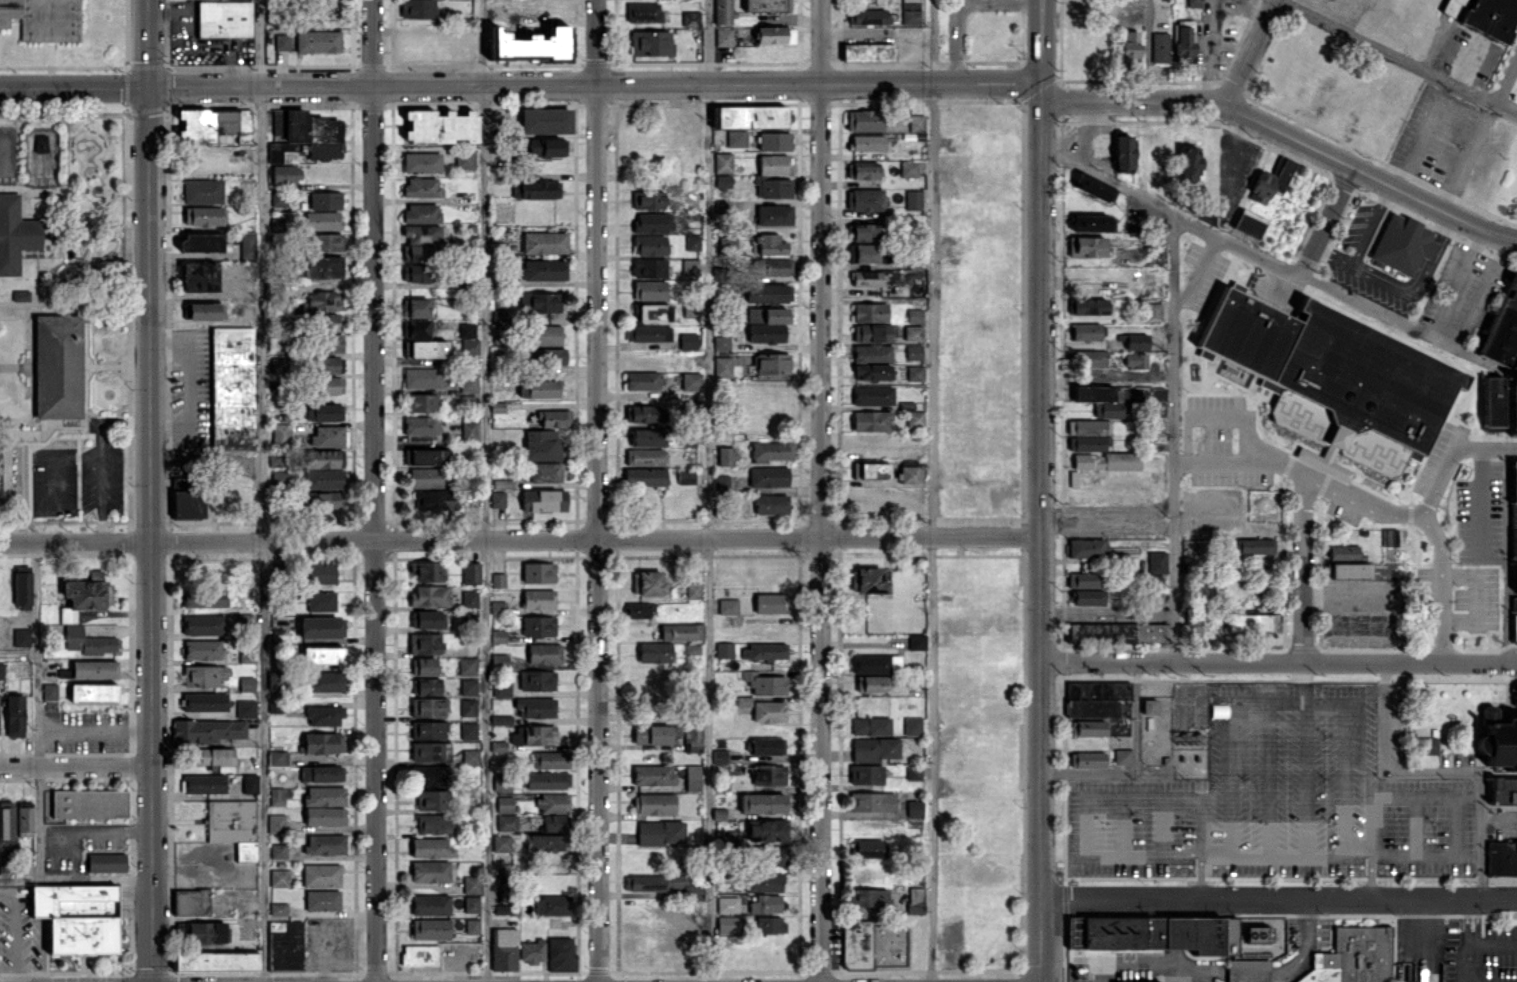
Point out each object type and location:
road: (999, 1)
building: (1194, 3)
building: (766, 5)
building: (418, 8)
building: (723, 11)
building: (643, 12)
building: (910, 12)
building: (1483, 15)
building: (865, 16)
building: (224, 18)
building: (691, 18)
building: (44, 19)
building: (775, 34)
building: (723, 37)
building: (282, 41)
building: (318, 41)
road: (954, 41)
road: (1041, 41)
building: (1183, 41)
building: (651, 42)
road: (146, 43)
building: (528, 44)
building: (1129, 46)
building: (1159, 47)
road: (1147, 51)
road: (1210, 51)
building: (867, 52)
road: (1249, 53)
road: (1398, 56)
road: (1505, 78)
traffic signals: (1041, 82)
road: (594, 84)
road: (73, 86)
traffic signals: (147, 86)
traffic signals: (1041, 102)
road: (1125, 102)
building: (751, 116)
building: (545, 120)
building: (864, 120)
building: (916, 122)
building: (214, 124)
building: (440, 126)
building: (305, 134)
building: (736, 138)
building: (774, 141)
building: (867, 142)
building: (40, 145)
building: (546, 147)
building: (1123, 153)
building: (464, 158)
building: (1189, 161)
building: (422, 162)
building: (722, 162)
building: (908, 168)
building: (862, 170)
building: (286, 173)
road: (1363, 173)
building: (761, 176)
building: (1270, 180)
building: (722, 181)
building: (422, 187)
building: (1093, 187)
building: (536, 189)
building: (203, 190)
building: (325, 199)
building: (865, 199)
building: (647, 200)
building: (913, 200)
building: (722, 205)
building: (421, 213)
building: (773, 214)
building: (204, 215)
building: (322, 220)
road: (1326, 221)
building: (653, 222)
building: (1091, 223)
building: (1248, 223)
road: (1369, 223)
building: (277, 224)
building: (864, 231)
building: (15, 233)
building: (326, 241)
building: (201, 242)
building: (419, 242)
building: (543, 242)
building: (692, 242)
building: (727, 242)
building: (770, 243)
building: (649, 244)
building: (1402, 244)
building: (247, 245)
building: (1086, 246)
road: (1249, 249)
building: (865, 253)
road: (1333, 253)
street lamp: (1189, 265)
building: (323, 266)
building: (690, 266)
building: (773, 266)
street lamp: (1246, 266)
building: (649, 267)
building: (544, 269)
building: (417, 273)
road: (1198, 273)
parking lot: (1201, 275)
building: (199, 276)
building: (866, 278)
road: (1417, 279)
road: (1313, 280)
road: (1309, 288)
building: (649, 289)
building: (768, 293)
building: (21, 295)
road: (1487, 297)
building: (321, 301)
building: (539, 301)
building: (1086, 305)
road: (74, 307)
building: (415, 307)
building: (203, 311)
building: (690, 311)
building: (869, 311)
building: (1152, 311)
building: (650, 312)
road: (1295, 314)
building: (914, 315)
building: (501, 317)
park: (65, 318)
building: (329, 321)
road: (1362, 322)
road: (1368, 322)
building: (767, 323)
building: (415, 327)
building: (1502, 328)
building: (466, 329)
building: (871, 332)
building: (913, 332)
building: (648, 333)
building: (499, 334)
building: (545, 334)
road: (1195, 334)
building: (688, 340)
building: (1135, 340)
building: (333, 342)
building: (721, 342)
road: (1409, 345)
building: (425, 348)
building: (469, 349)
building: (913, 351)
building: (549, 354)
building: (1088, 357)
building: (1135, 359)
road: (1204, 359)
building: (769, 363)
building: (279, 364)
building: (58, 365)
road: (115, 365)
building: (329, 365)
road: (17, 366)
building: (722, 366)
building: (1193, 371)
building: (914, 372)
building: (1233, 372)
building: (422, 377)
road: (1203, 377)
building: (1332, 377)
building: (643, 380)
building: (691, 381)
building: (468, 382)
building: (330, 385)
road: (188, 387)
road: (1463, 387)
building: (232, 388)
building: (538, 388)
street lamp: (1186, 391)
street lamp: (1241, 391)
road: (1258, 392)
road: (1187, 394)
building: (872, 395)
building: (1116, 397)
road: (1504, 400)
building: (421, 402)
building: (1491, 403)
building: (1513, 405)
building: (498, 406)
building: (324, 411)
building: (644, 413)
building: (911, 414)
building: (554, 417)
road: (1215, 417)
building: (870, 421)
building: (421, 425)
building: (1088, 426)
building: (1156, 427)
building: (468, 430)
building: (280, 432)
road: (1172, 435)
building: (327, 436)
building: (648, 437)
street lamp: (1191, 439)
street lamp: (1235, 439)
building: (1086, 443)
building: (541, 444)
building: (0, 445)
road: (1282, 446)
road: (1487, 448)
building: (770, 451)
parking lot: (1230, 452)
building: (427, 453)
building: (726, 455)
road: (100, 456)
building: (644, 456)
road: (1326, 456)
road: (1414, 456)
parking lot: (1432, 457)
building: (323, 458)
building: (276, 459)
road: (76, 460)
building: (1323, 460)
building: (1107, 461)
road: (1225, 461)
road: (1288, 463)
building: (870, 469)
building: (543, 471)
building: (0, 472)
parking lot: (101, 473)
building: (910, 474)
building: (644, 476)
building: (768, 476)
street lamp: (1187, 476)
building: (425, 477)
building: (685, 477)
building: (322, 479)
road: (1441, 480)
parking lot: (53, 481)
road: (53, 481)
street lamp: (1287, 482)
road: (1324, 482)
building: (502, 483)
building: (721, 483)
street lamp: (1402, 483)
street lamp: (1239, 485)
road: (259, 490)
road: (482, 490)
road: (818, 490)
road: (931, 490)
road: (374, 491)
road: (594, 491)
road: (708, 491)
road: (1348, 494)
road: (1409, 495)
street lamp: (1398, 496)
street lamp: (1442, 496)
building: (321, 499)
building: (435, 499)
building: (498, 499)
building: (186, 500)
building: (543, 500)
building: (1262, 502)
building: (771, 504)
building: (1513, 509)
road: (1409, 512)
road: (1106, 518)
road: (1040, 531)
road: (149, 533)
street lamp: (1420, 533)
building: (1389, 536)
road: (519, 539)
building: (1253, 546)
building: (1086, 547)
building: (1343, 553)
road: (1493, 553)
building: (1154, 567)
road: (1301, 567)
building: (426, 570)
building: (1349, 570)
building: (319, 572)
building: (471, 572)
building: (538, 572)
building: (498, 579)
building: (870, 579)
building: (1083, 579)
building: (648, 582)
road: (1441, 586)
building: (22, 587)
building: (693, 590)
building: (429, 595)
road: (1346, 596)
parking lot: (1475, 596)
building: (203, 597)
building: (1088, 597)
road: (1476, 597)
building: (538, 598)
parking lot: (1423, 598)
building: (469, 599)
building: (321, 600)
building: (770, 603)
building: (728, 606)
building: (67, 616)
building: (427, 619)
building: (1514, 619)
building: (1250, 622)
building: (203, 624)
building: (538, 625)
building: (321, 626)
building: (1196, 627)
building: (681, 631)
building: (1116, 631)
building: (498, 635)
building: (21, 637)
building: (916, 641)
building: (425, 643)
building: (691, 648)
building: (202, 649)
building: (724, 649)
building: (764, 650)
road: (18, 652)
building: (654, 652)
building: (543, 653)
building: (322, 654)
building: (246, 656)
building: (499, 661)
road: (1278, 661)
building: (875, 662)
building: (466, 665)
building: (423, 666)
building: (90, 669)
building: (203, 675)
building: (277, 680)
building: (537, 680)
building: (323, 681)
building: (246, 683)
building: (764, 683)
building: (870, 683)
building: (425, 686)
building: (468, 686)
building: (501, 688)
building: (49, 691)
building: (92, 692)
building: (1095, 697)
building: (1516, 697)
building: (743, 700)
building: (204, 701)
building: (535, 706)
building: (1149, 706)
building: (427, 707)
building: (468, 707)
building: (245, 708)
road: (37, 709)
building: (1218, 709)
building: (768, 711)
building: (14, 715)
building: (324, 715)
building: (502, 719)
road: (1234, 724)
building: (870, 725)
building: (912, 725)
building: (1087, 727)
building: (428, 729)
building: (207, 730)
building: (468, 730)
building: (534, 734)
building: (651, 734)
building: (1497, 739)
building: (321, 742)
building: (499, 745)
building: (767, 745)
building: (1428, 745)
building: (875, 748)
building: (430, 751)
road: (1345, 755)
building: (213, 756)
building: (719, 756)
building: (1122, 756)
building: (277, 757)
building: (549, 759)
building: (1086, 759)
road: (74, 766)
road: (1447, 768)
building: (912, 772)
building: (321, 773)
building: (652, 774)
building: (768, 774)
building: (866, 774)
building: (429, 775)
building: (692, 777)
building: (546, 780)
building: (501, 782)
building: (203, 783)
building: (249, 783)
road: (1173, 792)
road: (1400, 794)
building: (324, 795)
building: (276, 796)
building: (431, 799)
building: (871, 801)
building: (552, 802)
building: (762, 802)
building: (504, 803)
building: (653, 803)
building: (86, 804)
building: (914, 808)
building: (324, 816)
building: (24, 817)
building: (6, 822)
building: (276, 822)
building: (506, 822)
building: (552, 822)
road: (1084, 822)
building: (432, 823)
road: (1415, 823)
road: (1455, 824)
building: (233, 825)
building: (765, 829)
road: (101, 831)
building: (660, 832)
building: (725, 838)
building: (545, 842)
building: (501, 843)
building: (325, 844)
building: (431, 847)
building: (865, 847)
building: (278, 850)
road: (1142, 852)
road: (1424, 852)
road: (1284, 853)
building: (776, 855)
flagpole: (128, 858)
building: (1501, 858)
building: (106, 862)
building: (429, 871)
road: (1370, 874)
building: (321, 875)
road: (1200, 876)
building: (278, 877)
road: (74, 878)
building: (643, 882)
building: (763, 882)
building: (471, 884)
building: (681, 885)
road: (6, 891)
building: (868, 898)
building: (322, 899)
building: (915, 899)
road: (1278, 899)
flagpole: (116, 900)
building: (552, 900)
building: (191, 901)
building: (765, 903)
building: (430, 904)
building: (471, 904)
building: (726, 904)
building: (278, 908)
building: (77, 916)
parking lot: (10, 924)
building: (727, 924)
building: (769, 924)
building: (471, 925)
building: (430, 928)
building: (206, 932)
road: (14, 936)
building: (1193, 938)
road: (1469, 941)
building: (856, 943)
building: (285, 944)
road: (1493, 944)
building: (504, 949)
building: (531, 951)
building: (560, 953)
parking lot: (1483, 953)
building: (418, 955)
flagpole: (117, 957)
building: (1357, 958)
building: (216, 960)
building: (1122, 979)

